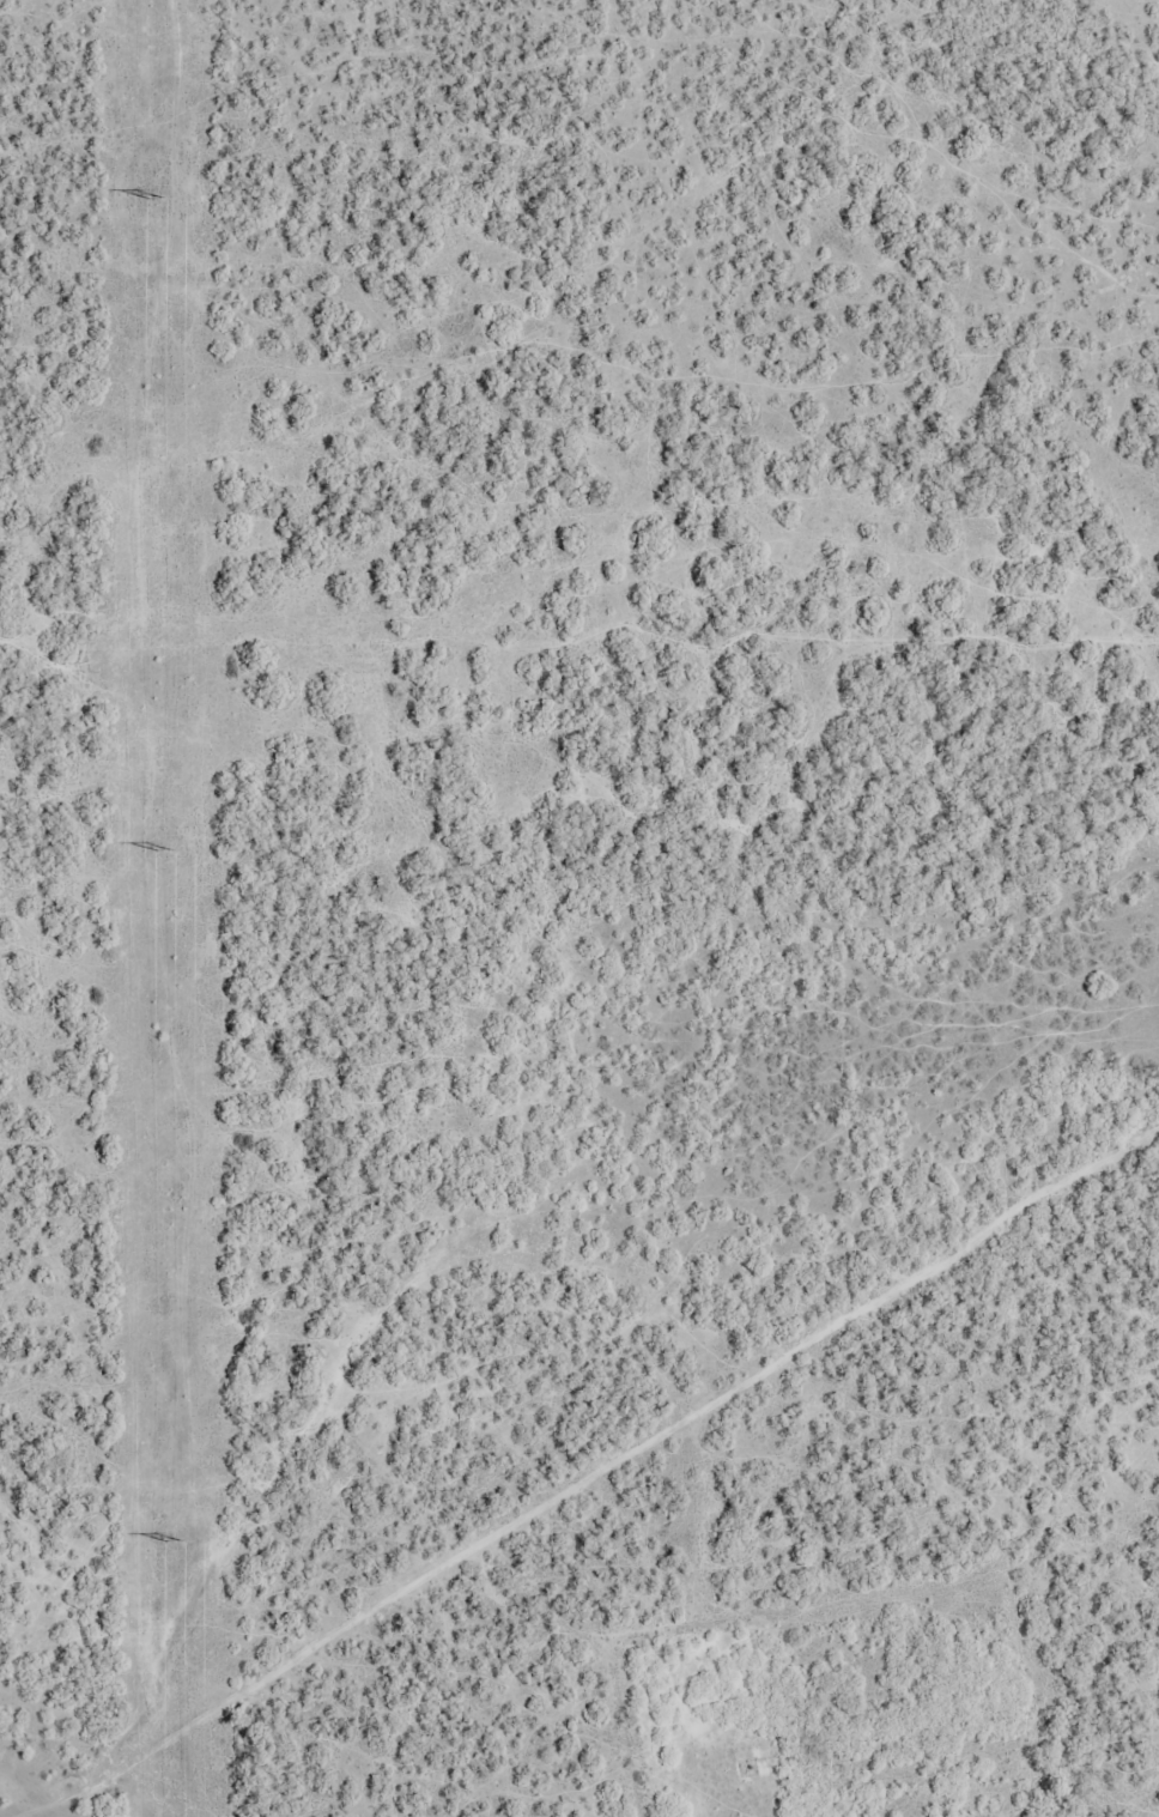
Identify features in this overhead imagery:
power tower: (162, 198)
power tower: (165, 847)
power tower: (174, 1542)

